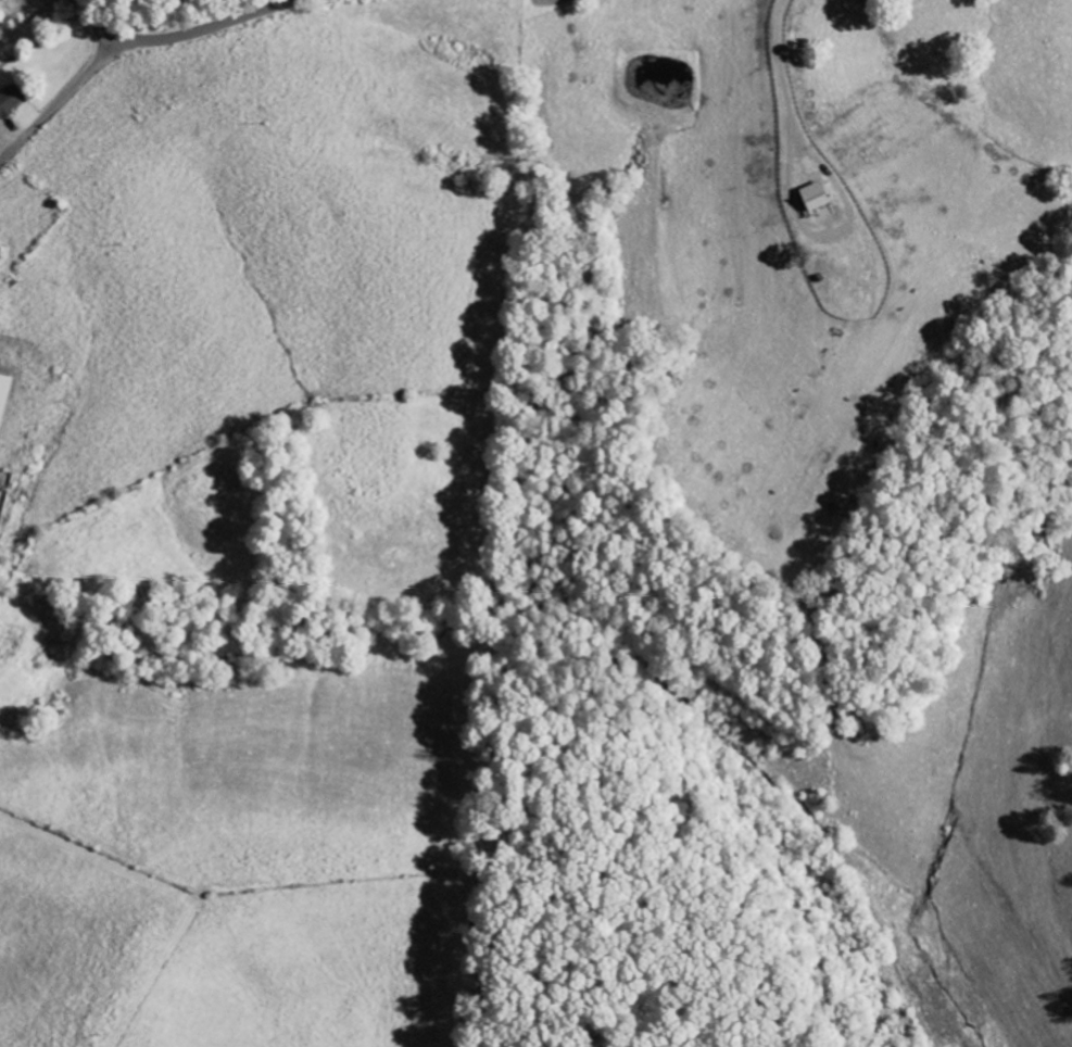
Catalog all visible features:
road: (186, 36)
road: (62, 99)
building: (11, 101)
building: (817, 197)

